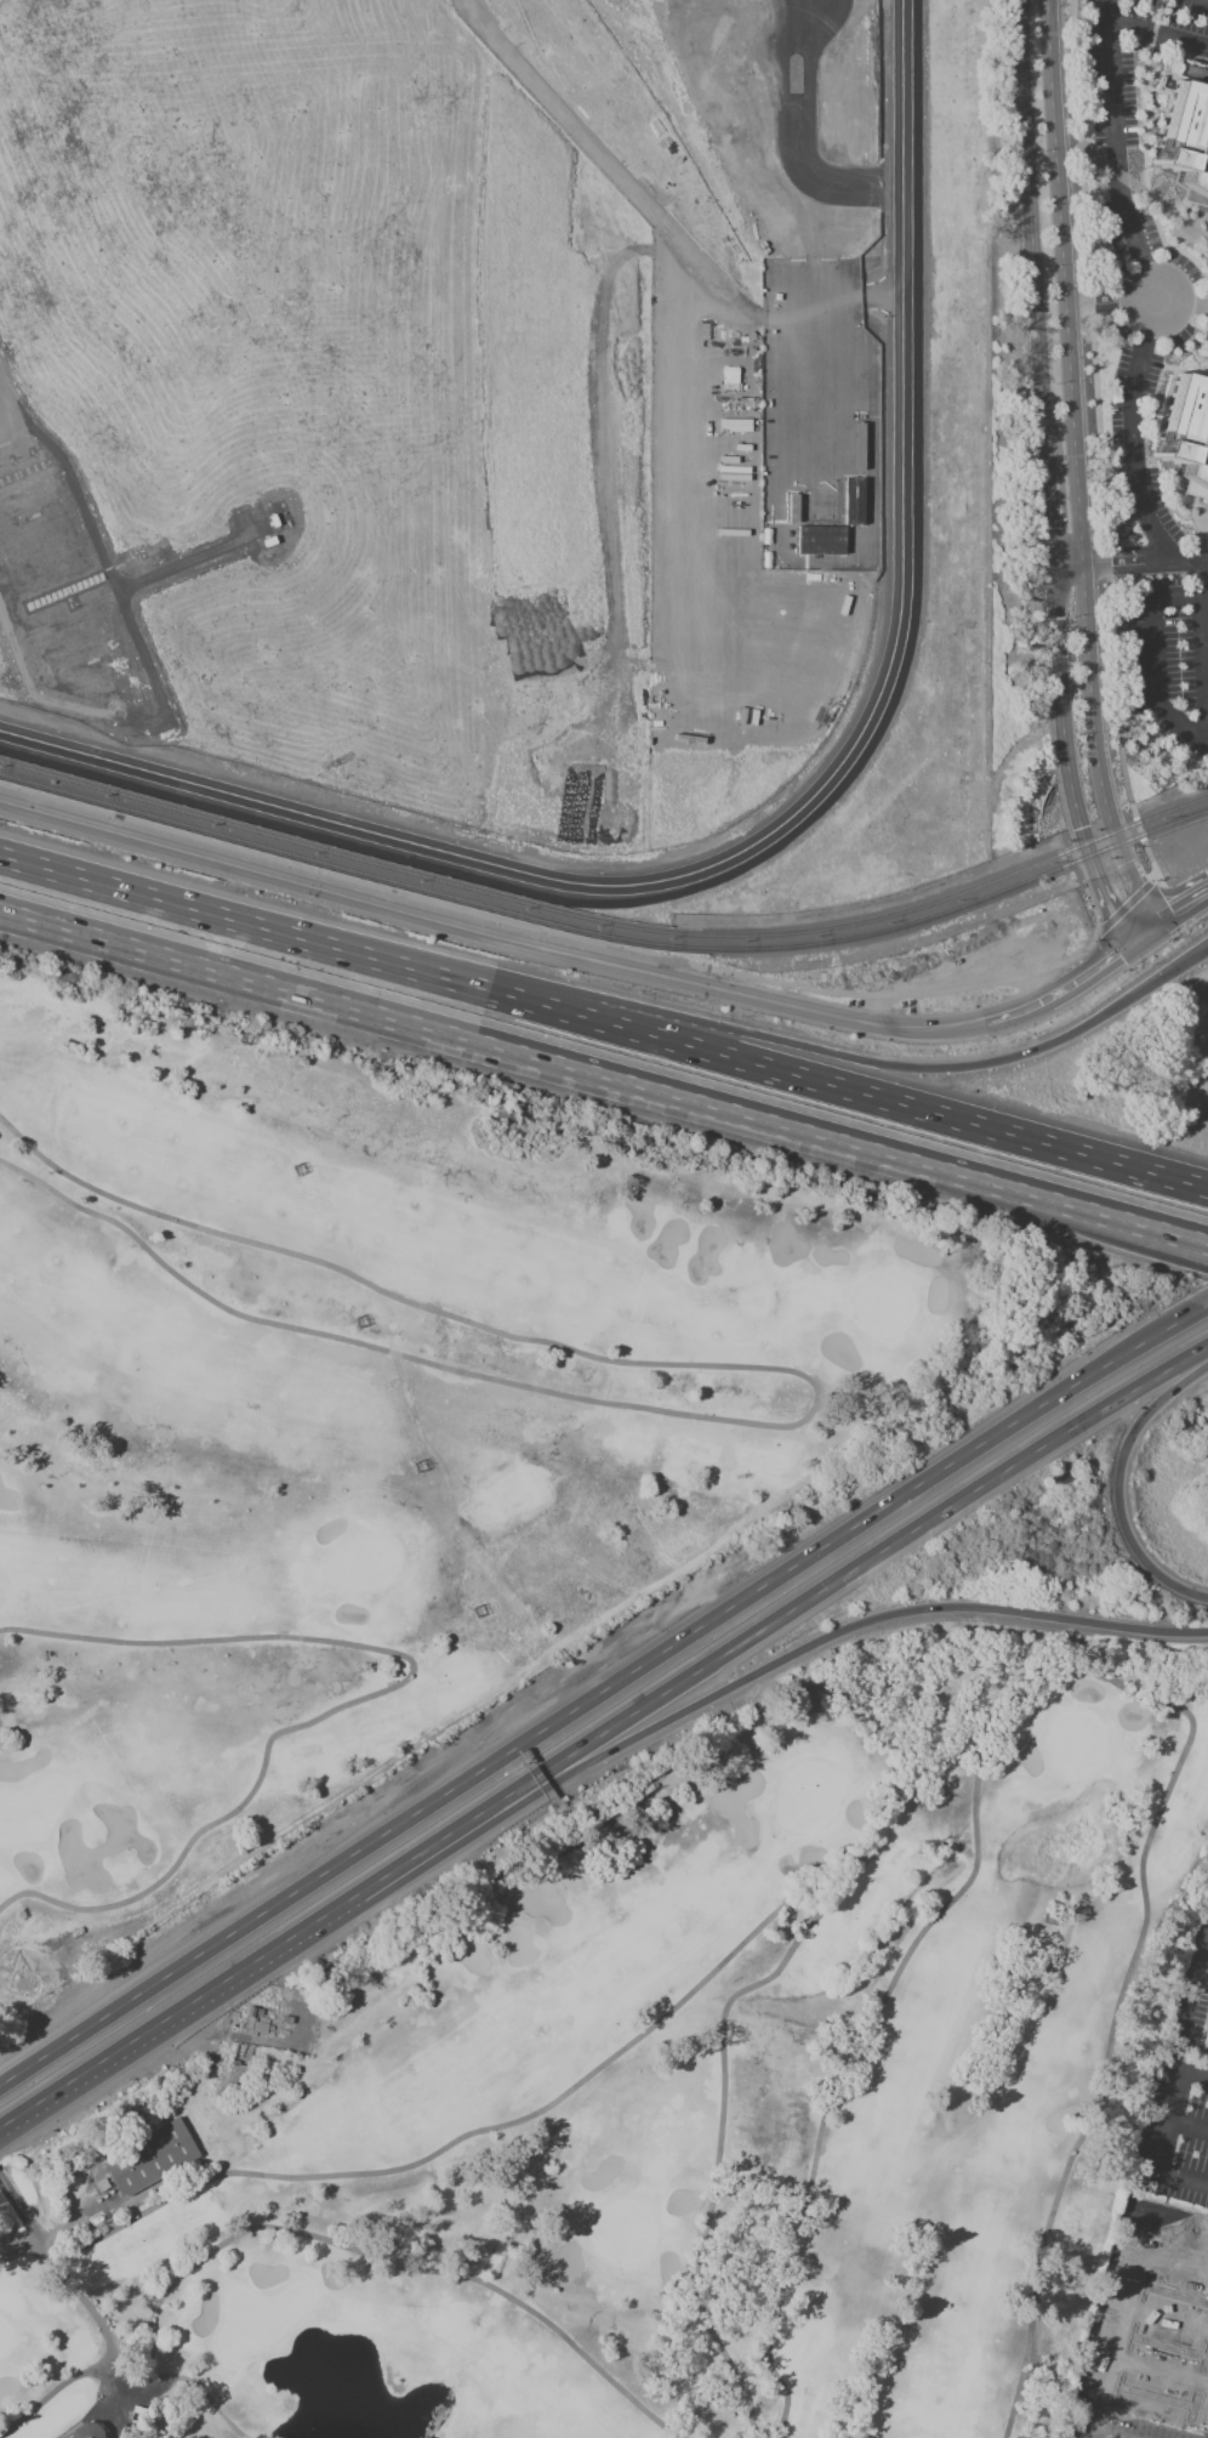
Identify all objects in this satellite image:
road: (1158, 32)
parking lot: (1115, 104)
road: (797, 133)
building: (1184, 137)
road: (1113, 140)
road: (1145, 194)
road: (1032, 227)
road: (1172, 229)
road: (1185, 252)
road: (1207, 286)
road: (1098, 305)
road: (1184, 307)
road: (1184, 370)
airport: (444, 394)
building: (1178, 433)
road: (1075, 439)
road: (1098, 439)
road: (1130, 444)
building: (853, 501)
road: (1048, 508)
building: (813, 529)
road: (1129, 559)
parking lot: (1173, 660)
road: (1060, 718)
road: (1193, 732)
road: (798, 809)
railway: (300, 843)
railway: (294, 856)
road: (1167, 892)
road: (1136, 903)
road: (1126, 904)
road: (1111, 908)
railway: (912, 911)
road: (1179, 914)
railway: (906, 926)
road: (277, 930)
traffic signals: (1151, 932)
road: (483, 934)
road: (1141, 938)
road: (571, 939)
traffic signals: (1132, 945)
road: (1056, 994)
road: (894, 1065)
road: (604, 1079)
road: (879, 1098)
road: (1201, 1309)
road: (816, 1400)
park: (401, 1425)
road: (1122, 1485)
road: (799, 1561)
road: (837, 1581)
road: (821, 1642)
road: (371, 1697)
road: (205, 1950)
road: (235, 1974)
building: (1206, 2044)
road: (1191, 2072)
road: (1169, 2084)
park: (668, 2092)
road: (1184, 2127)
building: (148, 2159)
road: (23, 2252)
road: (377, 2257)
road: (64, 2271)
road: (1118, 2311)
road: (1164, 2313)
building: (1176, 2332)
road: (769, 2338)
road: (1158, 2365)
road: (46, 2397)
road: (108, 2405)
building: (132, 2416)
road: (1149, 2420)
road: (1206, 2430)
building: (86, 2431)

